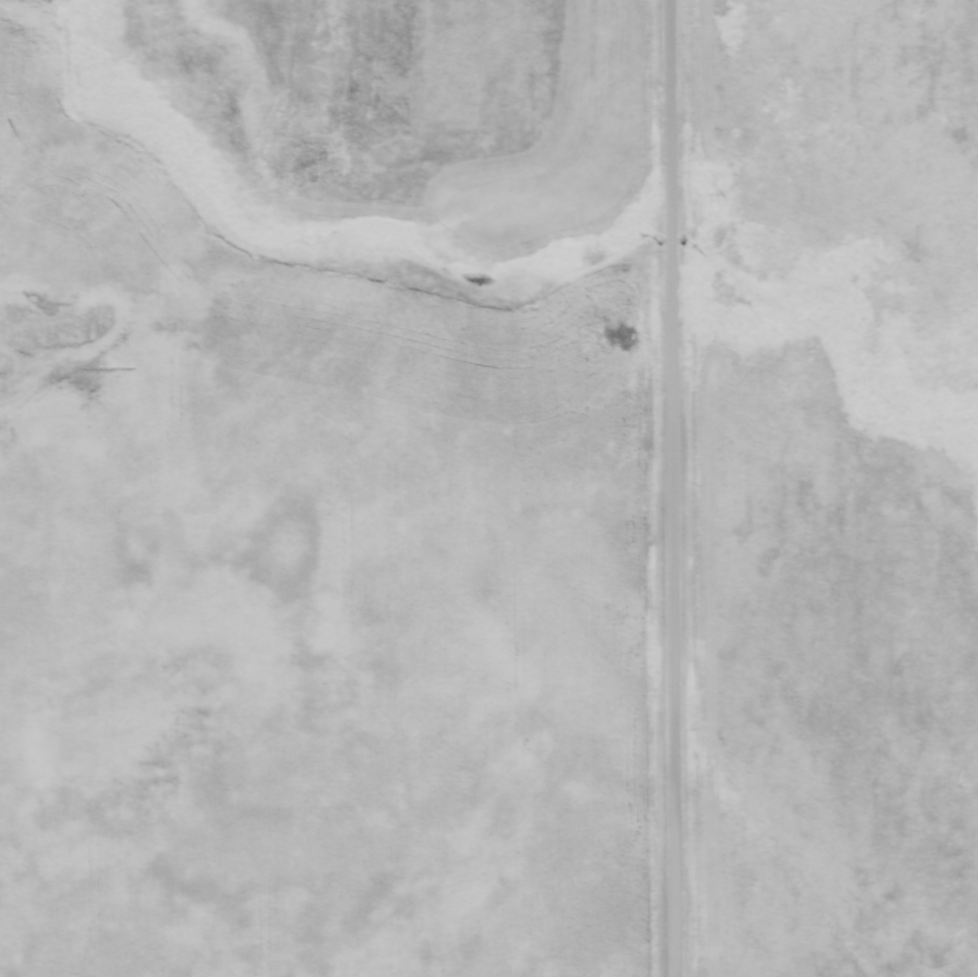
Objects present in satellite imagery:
road: (676, 488)

